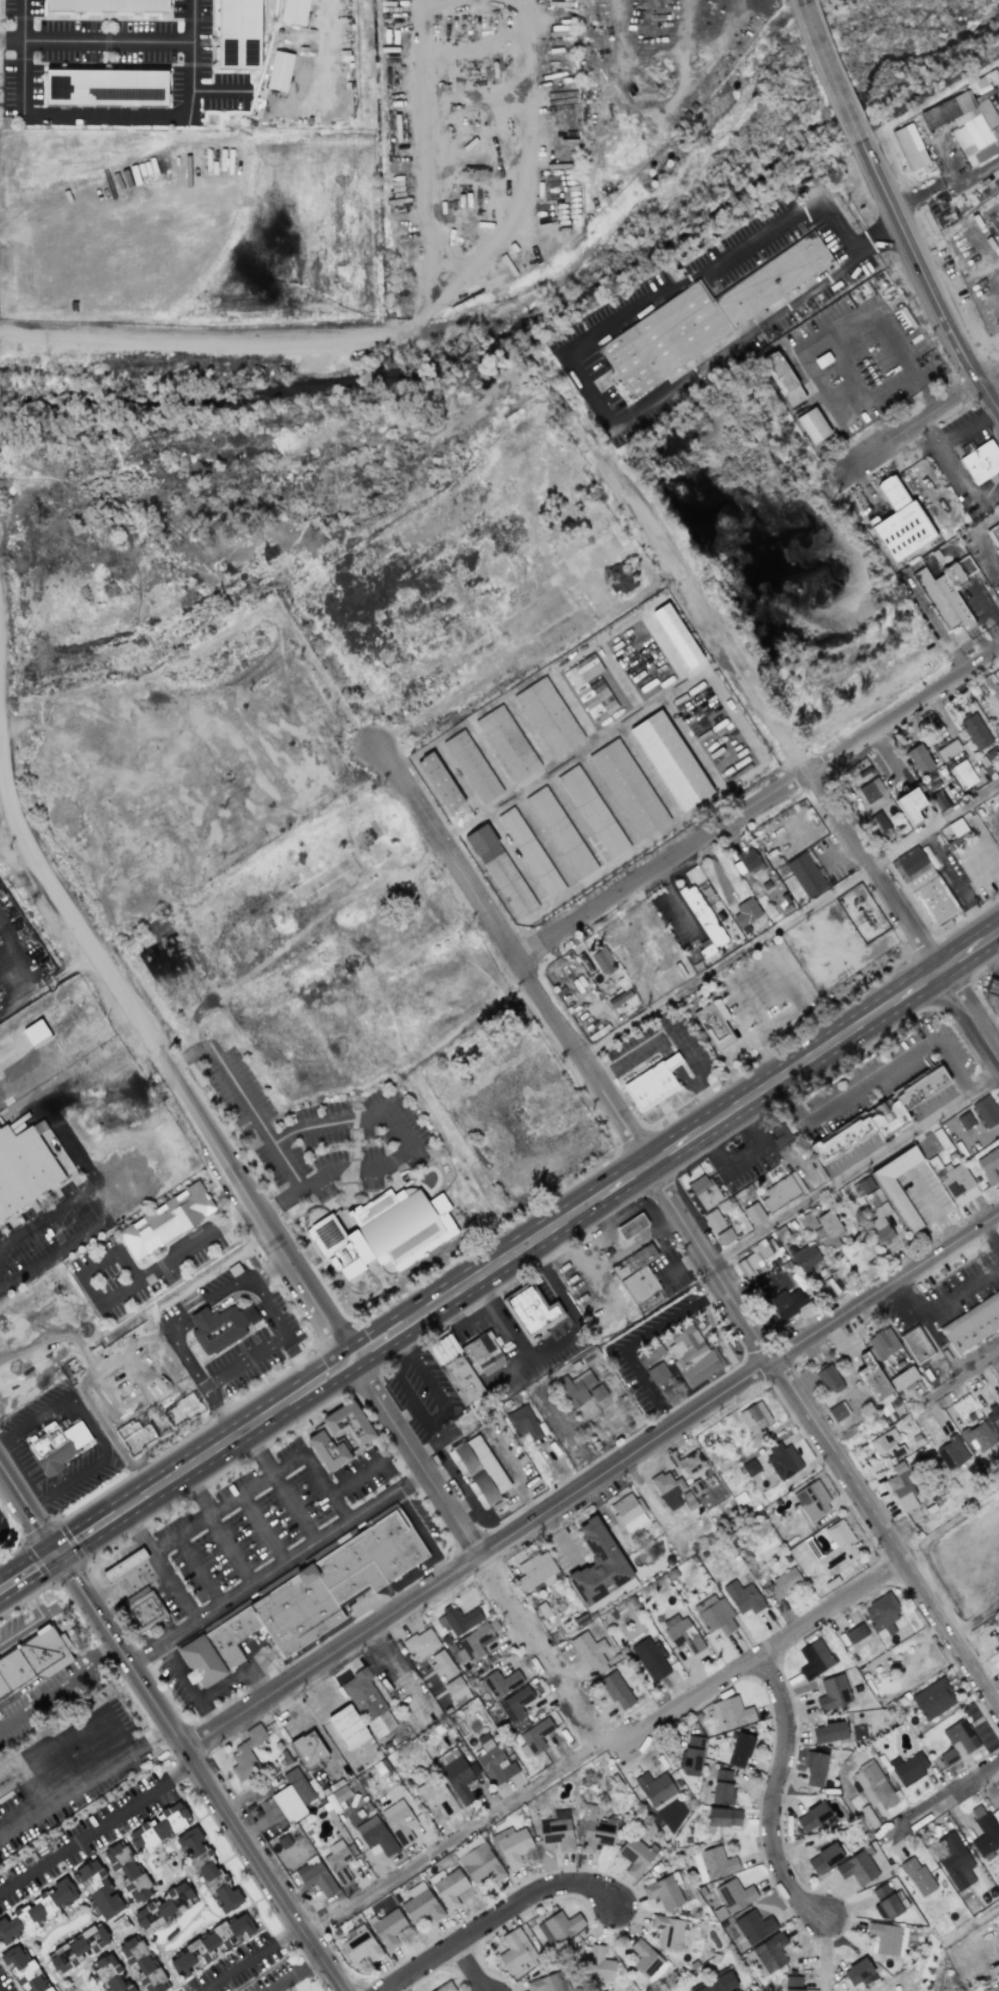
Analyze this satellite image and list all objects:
road: (802, 2)
building: (108, 6)
building: (294, 12)
road: (16, 17)
road: (121, 33)
road: (8, 35)
building: (238, 35)
building: (279, 71)
road: (826, 72)
road: (220, 85)
building: (105, 88)
road: (101, 108)
building: (967, 125)
building: (910, 147)
road: (944, 180)
road: (75, 210)
road: (926, 273)
building: (708, 314)
road: (566, 340)
road: (171, 342)
road: (908, 356)
road: (850, 359)
building: (782, 378)
road: (815, 381)
road: (919, 422)
building: (812, 425)
road: (954, 447)
building: (981, 462)
building: (899, 522)
building: (994, 535)
building: (620, 577)
building: (947, 591)
building: (676, 635)
building: (590, 687)
building: (548, 717)
building: (976, 732)
building: (507, 743)
road: (800, 753)
building: (919, 759)
building: (670, 760)
building: (471, 767)
building: (963, 774)
road: (3, 775)
building: (439, 782)
building: (628, 788)
building: (871, 790)
road: (995, 796)
road: (758, 801)
building: (910, 805)
building: (592, 811)
building: (878, 824)
building: (560, 832)
building: (530, 852)
building: (750, 862)
building: (500, 871)
building: (806, 874)
building: (924, 884)
building: (747, 911)
building: (703, 920)
road: (791, 922)
road: (299, 932)
road: (76, 933)
building: (603, 960)
road: (30, 965)
road: (747, 968)
building: (992, 988)
road: (48, 995)
building: (619, 998)
road: (986, 1010)
building: (714, 1023)
building: (36, 1033)
road: (449, 1037)
road: (741, 1043)
road: (695, 1060)
road: (881, 1063)
building: (652, 1083)
building: (986, 1111)
road: (255, 1117)
building: (875, 1119)
building: (965, 1120)
road: (399, 1127)
parking lot: (320, 1136)
building: (780, 1136)
road: (675, 1146)
building: (989, 1165)
building: (22, 1169)
road: (855, 1172)
building: (956, 1183)
building: (862, 1186)
building: (782, 1191)
building: (702, 1197)
building: (898, 1202)
road: (254, 1203)
road: (633, 1206)
road: (44, 1212)
building: (753, 1213)
building: (165, 1220)
road: (623, 1220)
building: (713, 1220)
building: (807, 1222)
building: (880, 1224)
building: (379, 1229)
road: (630, 1230)
building: (629, 1231)
gas station: (629, 1231)
building: (828, 1231)
road: (688, 1232)
road: (609, 1236)
building: (725, 1236)
road: (991, 1236)
road: (635, 1238)
road: (624, 1250)
building: (753, 1261)
building: (807, 1265)
building: (631, 1266)
road: (579, 1268)
road: (130, 1285)
road: (252, 1289)
road: (941, 1301)
building: (790, 1303)
building: (529, 1312)
road: (175, 1320)
building: (972, 1327)
building: (217, 1329)
road: (556, 1339)
road: (630, 1340)
building: (883, 1342)
road: (406, 1343)
building: (916, 1345)
building: (649, 1354)
building: (692, 1355)
road: (300, 1361)
road: (244, 1363)
building: (467, 1363)
road: (512, 1367)
road: (334, 1373)
building: (658, 1373)
road: (966, 1373)
building: (903, 1377)
building: (829, 1379)
building: (874, 1381)
building: (582, 1394)
building: (837, 1411)
road: (220, 1412)
building: (993, 1417)
road: (426, 1419)
building: (349, 1422)
building: (523, 1422)
building: (755, 1422)
road: (94, 1429)
building: (977, 1433)
building: (886, 1445)
building: (56, 1446)
building: (327, 1450)
building: (952, 1452)
building: (783, 1461)
building: (690, 1462)
building: (479, 1467)
building: (750, 1467)
road: (368, 1469)
road: (591, 1480)
road: (282, 1485)
building: (695, 1487)
road: (158, 1488)
building: (902, 1488)
building: (672, 1492)
road: (241, 1495)
building: (812, 1500)
building: (628, 1513)
road: (219, 1526)
road: (264, 1528)
building: (838, 1546)
traffic signals: (59, 1553)
road: (475, 1553)
building: (124, 1564)
building: (598, 1564)
road: (276, 1567)
road: (199, 1570)
building: (537, 1572)
building: (784, 1583)
road: (174, 1587)
building: (309, 1596)
building: (743, 1597)
building: (145, 1610)
building: (882, 1613)
building: (714, 1615)
road: (41, 1619)
building: (458, 1619)
building: (998, 1623)
building: (681, 1633)
building: (856, 1633)
building: (996, 1638)
building: (472, 1642)
building: (421, 1643)
building: (591, 1652)
road: (751, 1658)
building: (33, 1659)
building: (814, 1659)
building: (442, 1665)
road: (395, 1668)
road: (47, 1673)
road: (179, 1673)
road: (262, 1677)
building: (500, 1682)
road: (223, 1685)
building: (455, 1688)
road: (63, 1690)
building: (616, 1690)
building: (833, 1692)
building: (932, 1699)
building: (368, 1703)
building: (515, 1704)
building: (731, 1713)
road: (205, 1715)
road: (171, 1727)
building: (348, 1727)
building: (829, 1732)
building: (534, 1738)
building: (957, 1741)
building: (308, 1749)
building: (740, 1750)
building: (246, 1753)
building: (691, 1755)
road: (576, 1759)
building: (494, 1762)
building: (908, 1767)
building: (815, 1769)
parking lot: (115, 1773)
building: (456, 1775)
road: (85, 1781)
building: (299, 1785)
building: (872, 1785)
building: (722, 1786)
building: (655, 1788)
road: (776, 1789)
building: (437, 1797)
building: (336, 1798)
road: (938, 1801)
building: (288, 1804)
building: (995, 1814)
building: (812, 1816)
building: (724, 1817)
building: (399, 1821)
building: (159, 1827)
building: (594, 1829)
road: (95, 1830)
building: (557, 1830)
building: (984, 1833)
building: (376, 1838)
parking lot: (82, 1841)
building: (512, 1845)
road: (429, 1852)
building: (635, 1856)
building: (825, 1857)
building: (479, 1861)
building: (338, 1862)
building: (955, 1862)
building: (712, 1864)
building: (857, 1867)
building: (207, 1870)
building: (127, 1871)
building: (315, 1877)
building: (918, 1877)
building: (450, 1888)
building: (97, 1890)
building: (664, 1891)
building: (734, 1895)
building: (885, 1902)
building: (420, 1903)
building: (164, 1906)
building: (38, 1909)
road: (496, 1916)
building: (753, 1926)
building: (559, 1927)
building: (388, 1928)
building: (668, 1932)
building: (886, 1938)
building: (210, 1944)
building: (359, 1944)
building: (78, 1947)
building: (515, 1951)
building: (767, 1955)
road: (820, 1955)
road: (249, 1958)
building: (645, 1959)
building: (142, 1964)
building: (599, 1964)
parking lot: (233, 1965)
road: (471, 1967)
building: (24, 1968)
building: (858, 1972)
building: (109, 1974)
parking lot: (275, 1976)
road: (295, 1976)
parking lot: (6, 1981)
building: (549, 1983)
building: (793, 1983)
building: (717, 1984)
building: (445, 1987)
building: (996, 1990)

